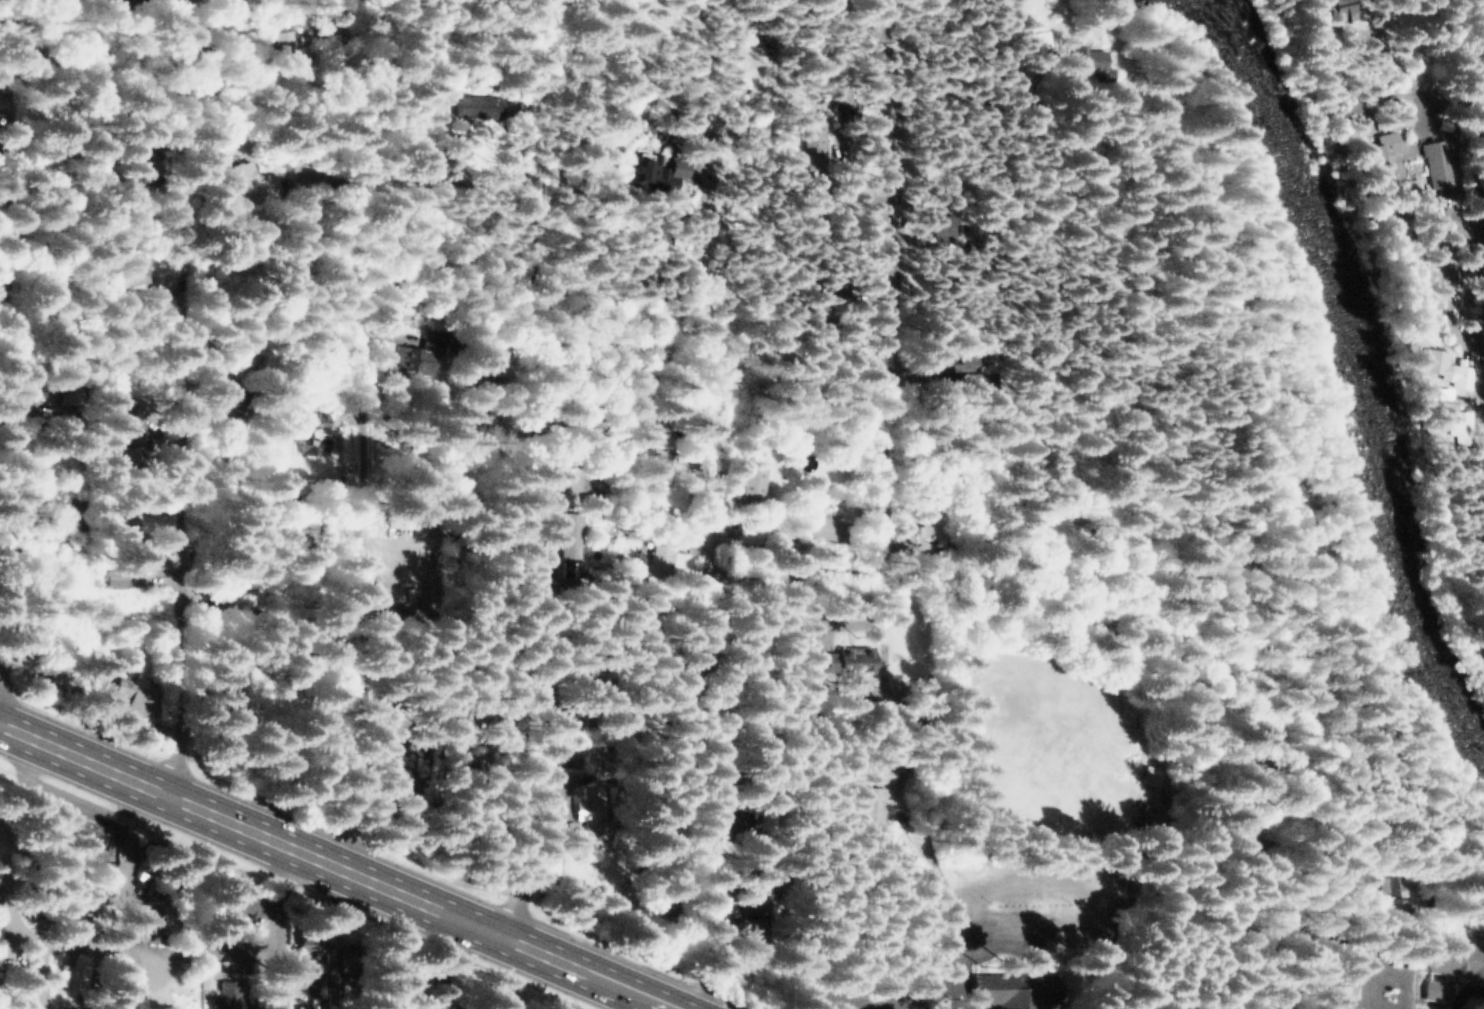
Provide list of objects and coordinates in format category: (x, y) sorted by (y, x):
building: (1339, 10)
road: (608, 19)
building: (1036, 42)
building: (282, 56)
road: (892, 56)
building: (1088, 63)
building: (462, 67)
road: (202, 83)
road: (373, 90)
road: (563, 90)
road: (1436, 97)
building: (477, 104)
building: (845, 106)
road: (1473, 123)
building: (753, 124)
building: (815, 142)
building: (1384, 144)
building: (643, 163)
building: (1442, 163)
road: (5, 170)
building: (248, 183)
road: (45, 210)
road: (996, 212)
building: (944, 224)
building: (137, 274)
building: (641, 280)
road: (154, 329)
road: (1479, 329)
road: (4, 337)
building: (423, 350)
building: (500, 364)
building: (1445, 368)
river: (1360, 380)
road: (712, 381)
building: (653, 390)
building: (67, 391)
building: (231, 397)
building: (106, 398)
road: (888, 414)
building: (130, 424)
building: (319, 432)
building: (124, 453)
building: (228, 463)
building: (654, 468)
building: (753, 481)
building: (71, 510)
building: (389, 526)
building: (927, 527)
building: (827, 528)
building: (745, 530)
building: (305, 534)
building: (131, 544)
building: (568, 545)
building: (656, 556)
building: (107, 578)
road: (529, 590)
road: (353, 599)
building: (219, 606)
road: (178, 608)
building: (843, 660)
road: (443, 667)
building: (564, 684)
building: (132, 693)
road: (1226, 700)
building: (226, 701)
building: (1151, 776)
building: (390, 788)
road: (697, 789)
building: (741, 795)
building: (589, 806)
building: (873, 808)
road: (1175, 812)
building: (742, 818)
building: (77, 831)
road: (24, 834)
road: (338, 866)
building: (1380, 887)
building: (235, 903)
building: (751, 917)
road: (276, 927)
road: (57, 943)
building: (309, 943)
road: (442, 961)
building: (306, 962)
building: (334, 964)
building: (5, 965)
building: (1448, 965)
road: (40, 972)
building: (1335, 986)
building: (1011, 987)
road: (939, 994)
building: (226, 997)
road: (22, 999)
building: (4, 1004)
road: (819, 1004)
building: (406, 1005)

